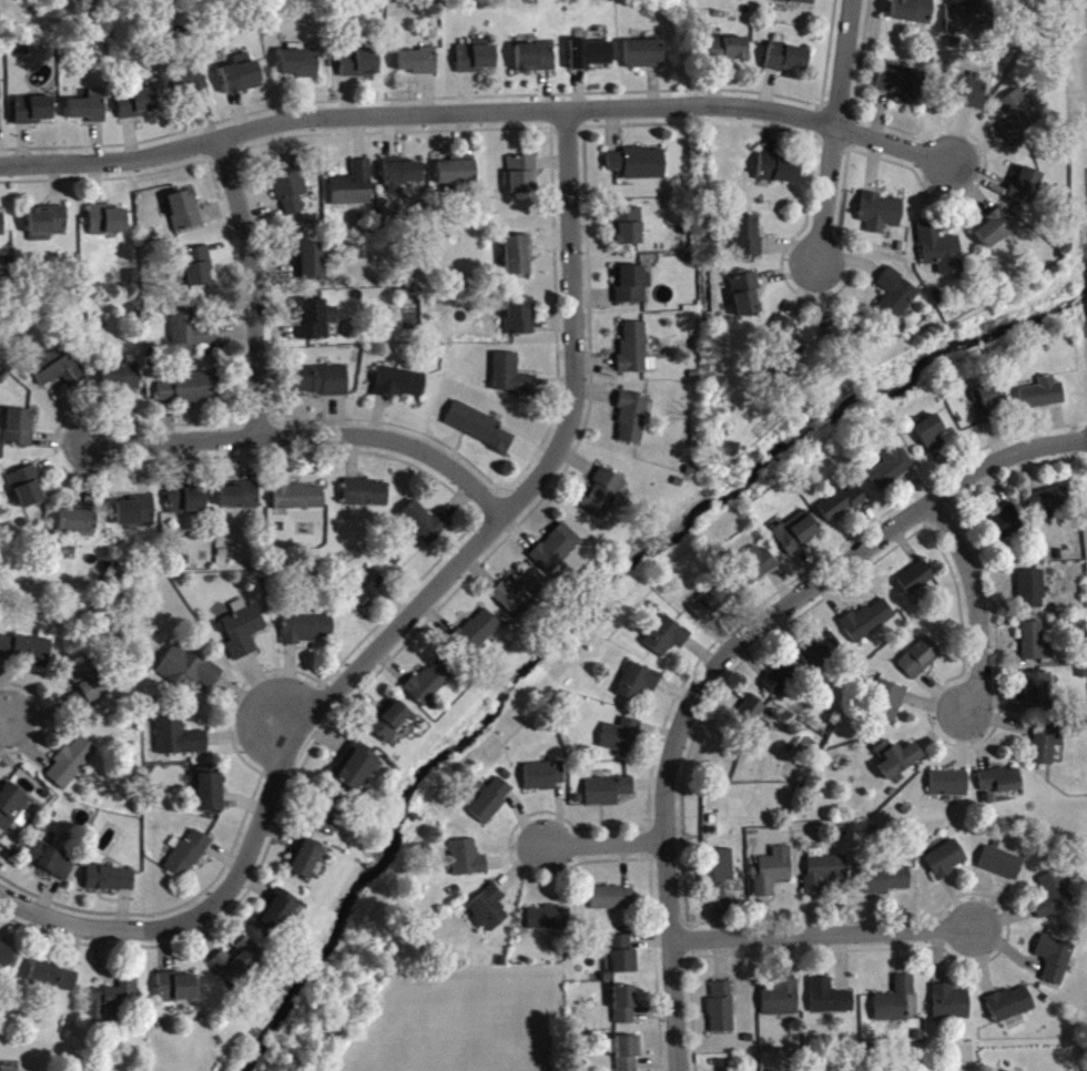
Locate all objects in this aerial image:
building: (794, 3)
building: (912, 14)
building: (972, 20)
building: (727, 53)
building: (590, 59)
building: (642, 59)
building: (535, 61)
building: (476, 62)
building: (786, 62)
building: (419, 65)
building: (360, 67)
building: (301, 68)
building: (243, 79)
building: (186, 86)
building: (902, 89)
building: (964, 93)
building: (136, 108)
road: (475, 110)
building: (90, 111)
building: (34, 114)
building: (0, 116)
building: (1018, 120)
road: (830, 133)
building: (638, 169)
building: (776, 174)
building: (456, 177)
building: (522, 178)
building: (403, 180)
building: (289, 188)
building: (354, 190)
building: (1024, 190)
building: (185, 214)
building: (880, 216)
building: (109, 225)
building: (48, 227)
building: (1, 228)
building: (628, 231)
building: (994, 234)
building: (745, 241)
building: (939, 254)
building: (517, 259)
building: (312, 267)
building: (197, 271)
road: (253, 284)
building: (630, 288)
building: (744, 296)
building: (895, 298)
building: (520, 320)
building: (316, 324)
building: (192, 331)
building: (785, 346)
building: (634, 353)
building: (58, 373)
building: (511, 380)
building: (122, 381)
building: (322, 385)
building: (400, 388)
building: (190, 394)
building: (1043, 399)
building: (991, 408)
building: (631, 422)
building: (478, 431)
building: (21, 432)
road: (306, 433)
building: (931, 438)
road: (1016, 441)
road: (1079, 441)
building: (892, 472)
road: (939, 487)
building: (29, 491)
building: (366, 498)
building: (601, 498)
building: (241, 500)
building: (299, 501)
building: (187, 503)
building: (1052, 507)
building: (841, 508)
building: (136, 517)
building: (78, 526)
building: (424, 527)
building: (1006, 528)
building: (796, 537)
building: (556, 553)
road: (448, 563)
building: (755, 569)
building: (917, 582)
road: (811, 585)
building: (365, 591)
building: (1033, 594)
building: (516, 599)
building: (711, 605)
road: (978, 610)
building: (870, 624)
building: (243, 633)
building: (308, 633)
building: (479, 634)
building: (667, 641)
building: (1036, 646)
building: (27, 654)
building: (822, 655)
building: (921, 662)
building: (189, 674)
building: (782, 683)
building: (429, 685)
building: (638, 686)
building: (88, 688)
building: (1038, 695)
building: (888, 705)
building: (752, 715)
building: (388, 725)
road: (4, 726)
building: (177, 739)
building: (621, 741)
building: (1047, 746)
building: (897, 763)
building: (72, 766)
building: (354, 771)
building: (543, 781)
building: (1000, 785)
building: (949, 788)
building: (210, 795)
building: (609, 796)
building: (491, 805)
building: (12, 814)
building: (326, 818)
road: (602, 843)
building: (186, 859)
building: (305, 863)
building: (50, 864)
building: (468, 864)
building: (946, 864)
building: (1002, 868)
building: (825, 875)
building: (774, 876)
building: (721, 877)
building: (110, 884)
building: (885, 885)
building: (1054, 898)
building: (613, 902)
building: (490, 914)
building: (275, 919)
road: (67, 921)
building: (550, 922)
road: (827, 938)
road: (672, 955)
building: (624, 959)
building: (4, 960)
building: (1056, 963)
building: (236, 967)
building: (53, 980)
building: (177, 992)
building: (781, 1002)
building: (830, 1002)
building: (114, 1004)
building: (895, 1006)
building: (951, 1008)
building: (1012, 1009)
building: (626, 1010)
building: (722, 1012)
building: (627, 1054)

